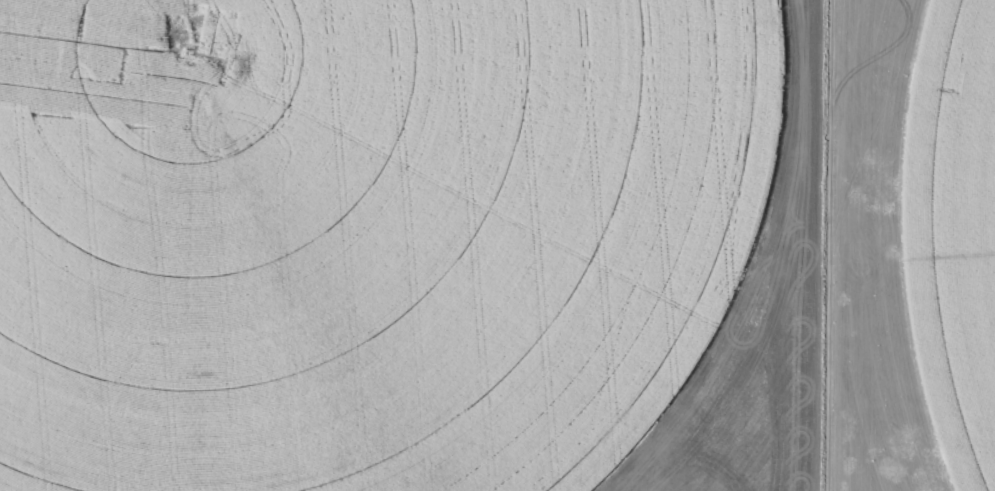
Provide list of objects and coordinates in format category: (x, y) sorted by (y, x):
road: (836, 245)

